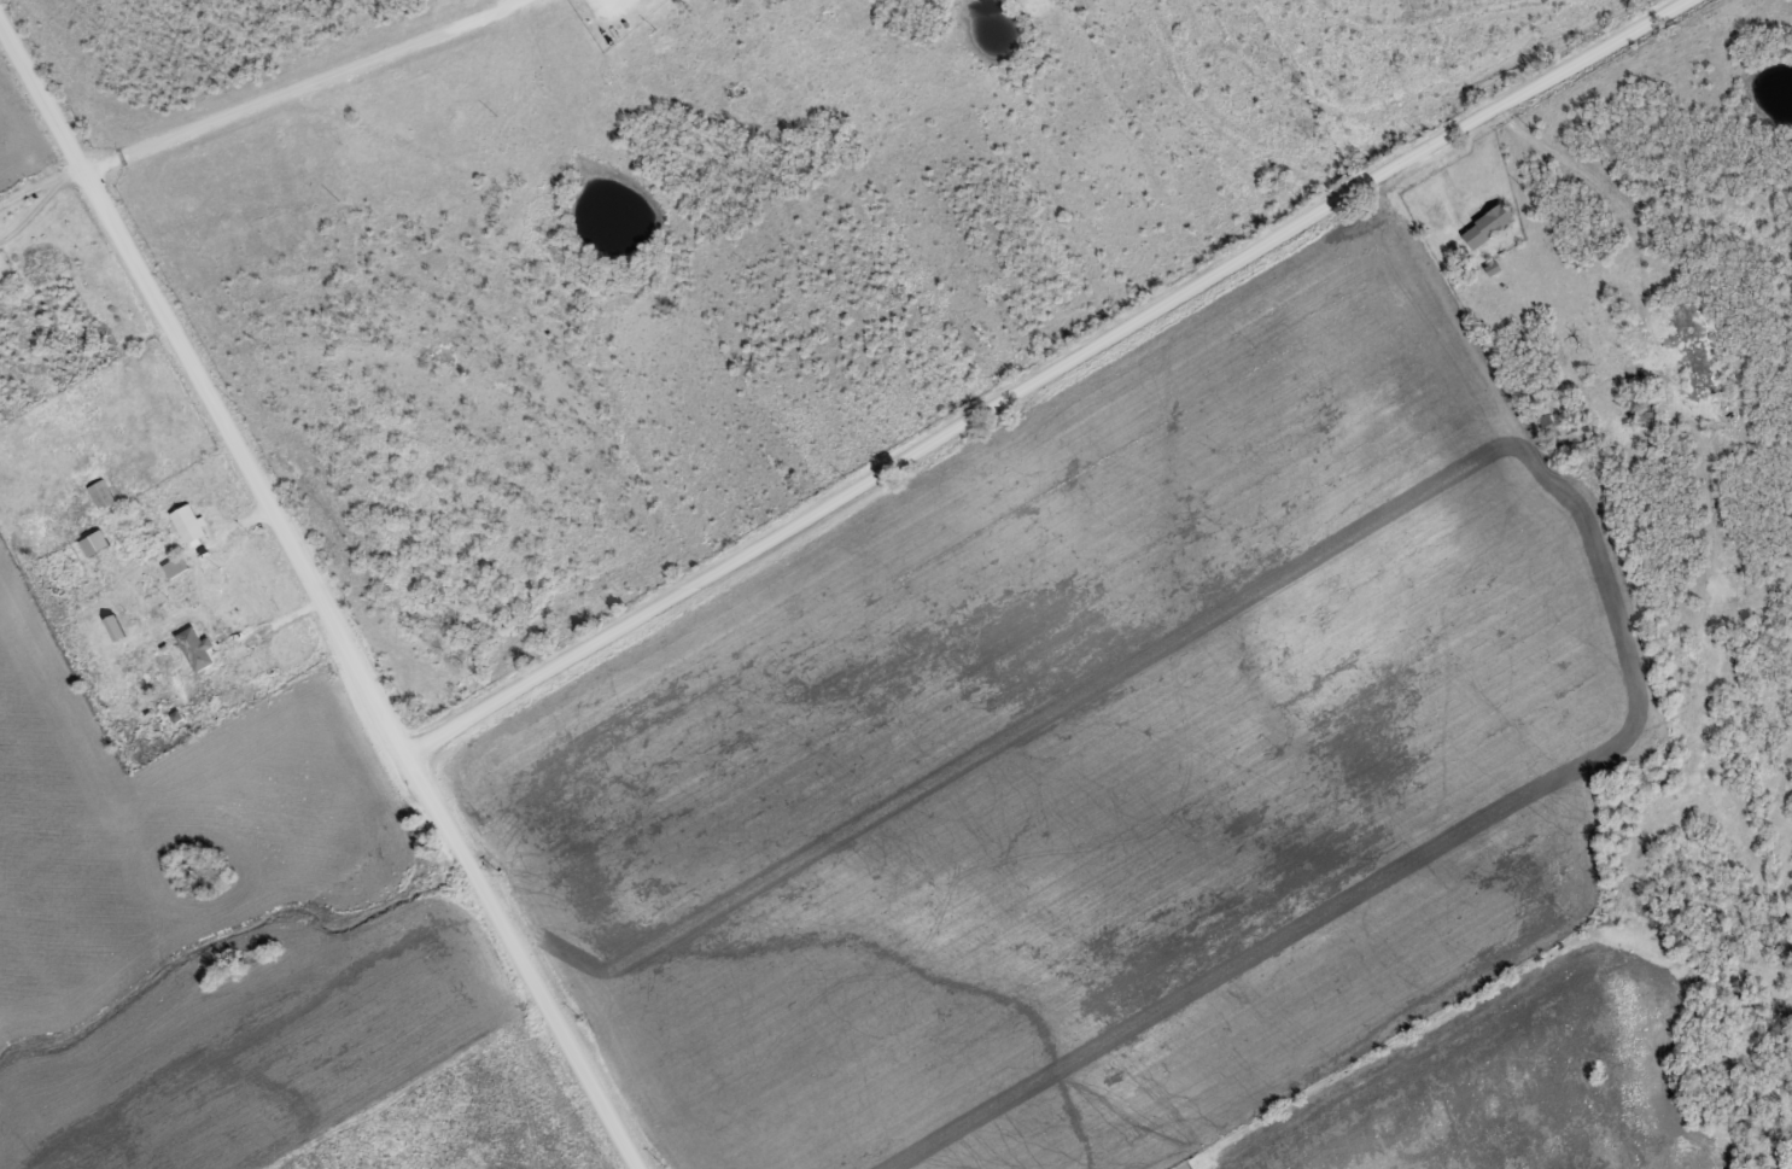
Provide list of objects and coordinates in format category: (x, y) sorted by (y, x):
road: (311, 57)
building: (1490, 224)
road: (1034, 369)
building: (65, 398)
building: (1642, 409)
building: (101, 493)
building: (191, 522)
building: (95, 542)
building: (175, 565)
road: (322, 589)
building: (197, 648)

